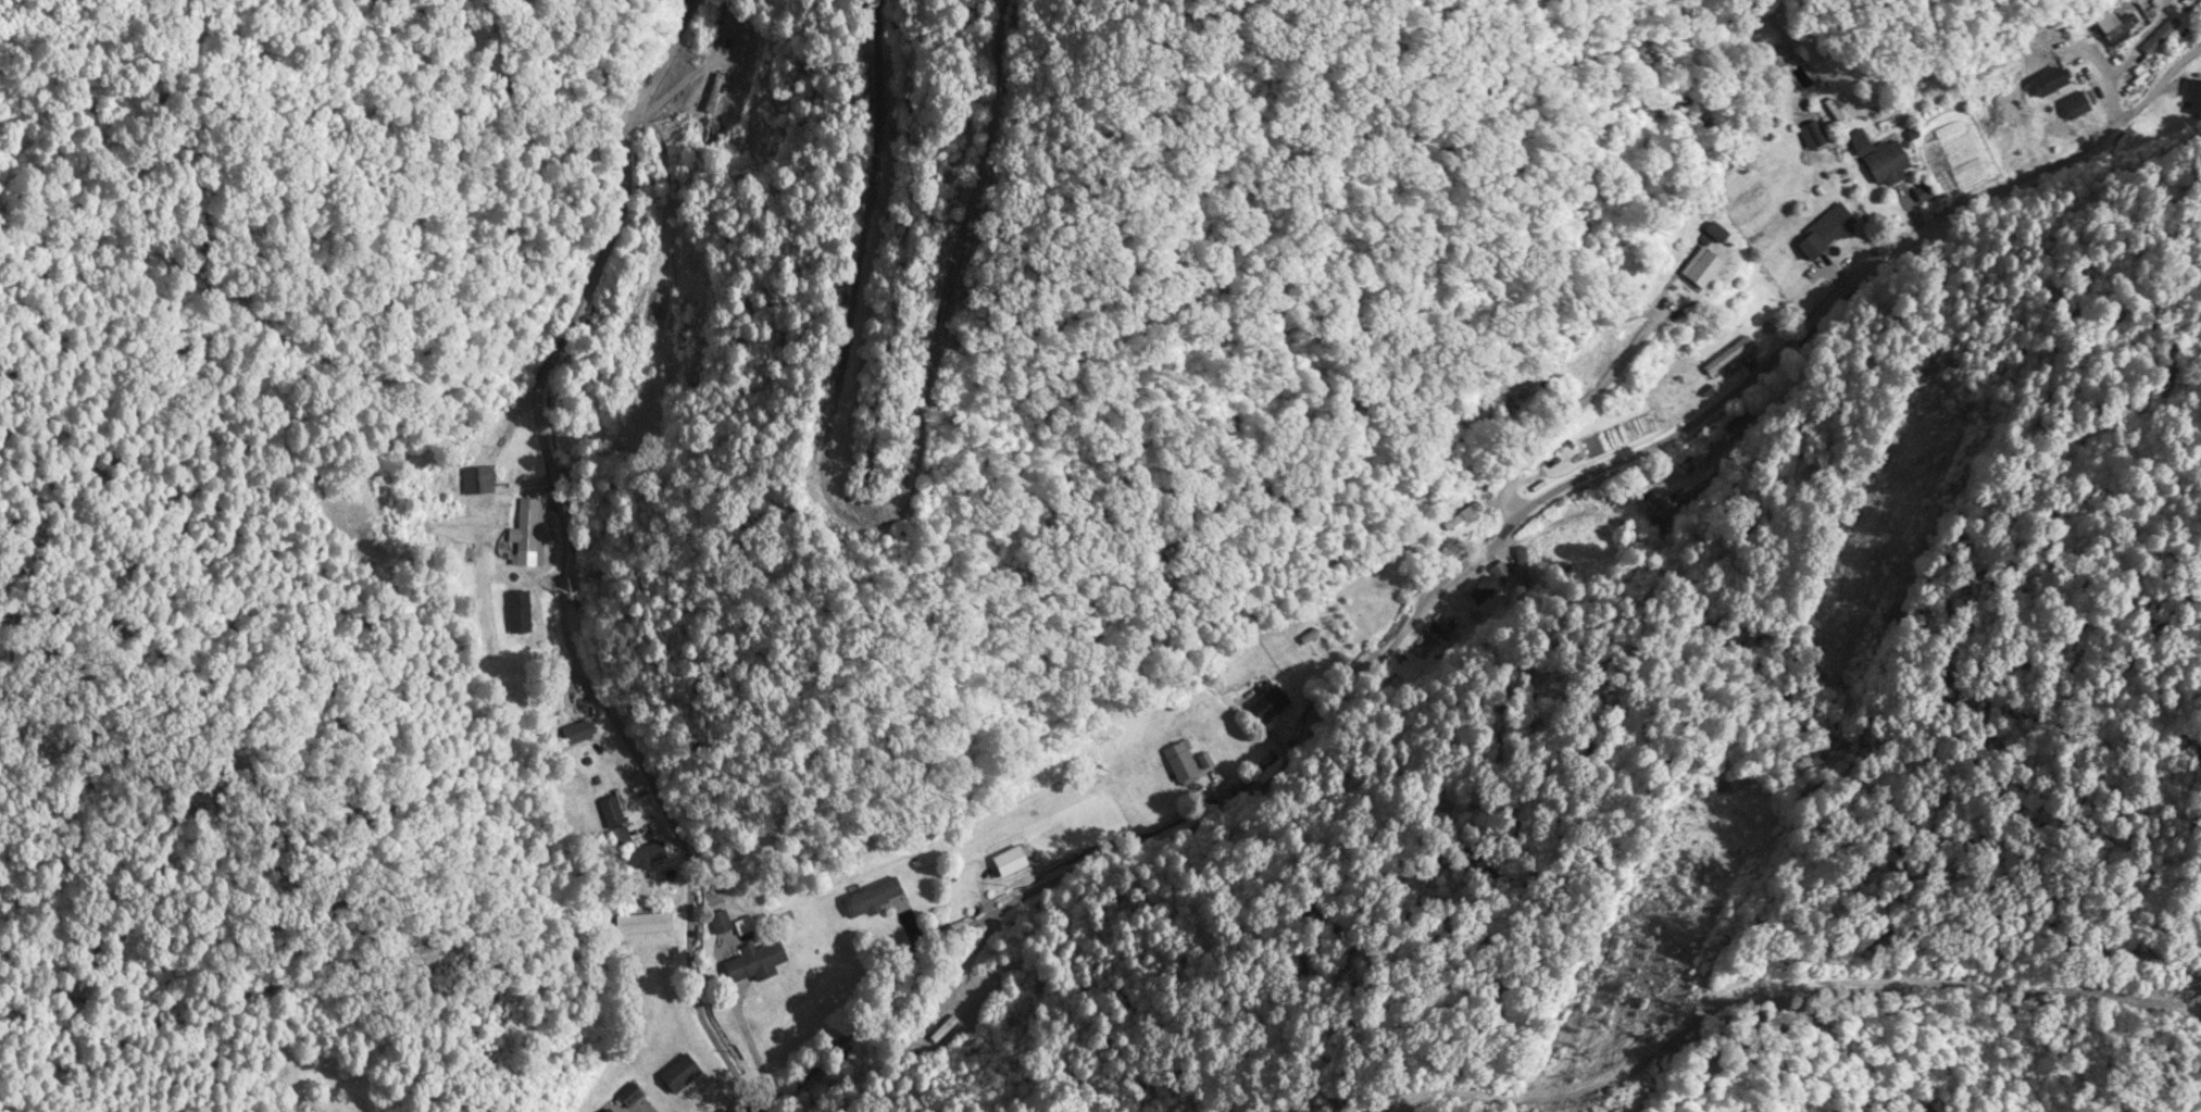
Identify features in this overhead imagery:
building: (2117, 30)
building: (1987, 75)
building: (2051, 83)
building: (2196, 100)
building: (2066, 115)
road: (2127, 121)
building: (1884, 161)
building: (1826, 233)
building: (1705, 260)
building: (1727, 355)
building: (1672, 505)
building: (1461, 515)
building: (1595, 535)
building: (1502, 575)
building: (1484, 590)
road: (1393, 634)
building: (1267, 704)
building: (1184, 763)
building: (1011, 862)
building: (639, 877)
building: (873, 899)
building: (648, 924)
building: (745, 951)
road: (699, 961)
building: (680, 1075)
building: (621, 1109)

